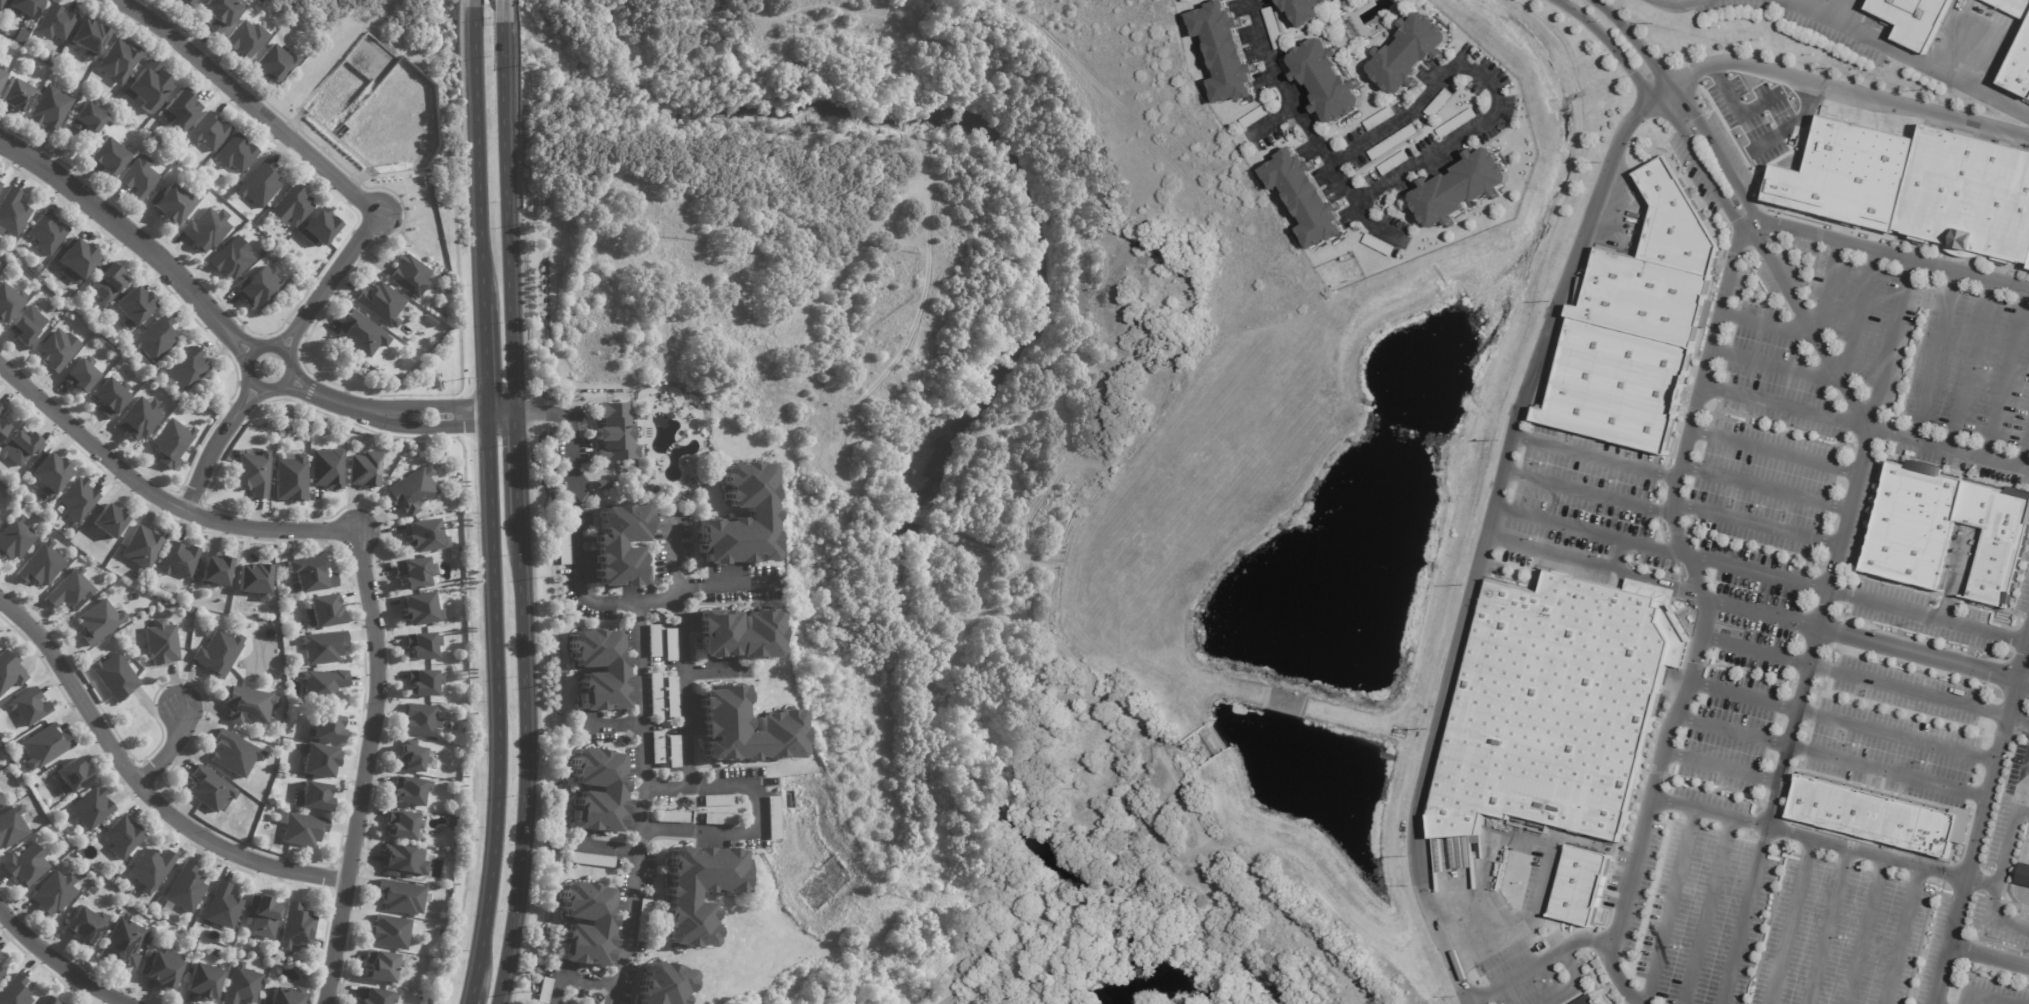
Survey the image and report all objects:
building: (185, 2)
building: (1, 3)
road: (464, 3)
road: (1681, 6)
building: (25, 7)
building: (2013, 7)
road: (496, 11)
building: (1308, 11)
building: (220, 13)
building: (52, 20)
building: (1917, 20)
park: (391, 24)
building: (1275, 29)
building: (84, 36)
building: (245, 39)
building: (1229, 54)
building: (1413, 55)
road: (1908, 57)
building: (115, 60)
building: (274, 64)
building: (2, 72)
building: (2020, 73)
building: (1329, 81)
road: (1483, 83)
building: (147, 87)
building: (16, 96)
road: (247, 104)
building: (1440, 104)
building: (49, 108)
road: (1692, 110)
building: (180, 112)
road: (1671, 114)
building: (1258, 116)
building: (88, 118)
building: (1381, 120)
road: (1270, 124)
building: (1459, 124)
road: (1308, 130)
building: (207, 133)
building: (1395, 143)
building: (235, 154)
road: (472, 156)
building: (109, 157)
building: (1396, 164)
building: (138, 178)
building: (0, 182)
building: (0, 184)
building: (258, 185)
building: (1463, 189)
building: (1966, 197)
building: (1309, 199)
building: (171, 203)
building: (291, 207)
building: (12, 211)
building: (319, 227)
building: (205, 230)
building: (47, 232)
road: (132, 241)
building: (1380, 245)
road: (1894, 255)
building: (231, 259)
building: (77, 260)
building: (1653, 269)
building: (408, 276)
road: (331, 281)
building: (102, 282)
building: (257, 287)
road: (1826, 289)
building: (7, 301)
building: (128, 304)
building: (380, 304)
road: (1859, 315)
building: (429, 321)
road: (1768, 325)
building: (22, 326)
building: (360, 334)
building: (151, 337)
road: (1890, 344)
building: (58, 349)
road: (283, 351)
road: (1935, 356)
road: (481, 362)
road: (1777, 364)
road: (1971, 366)
building: (183, 368)
building: (74, 374)
road: (2008, 375)
building: (1616, 387)
building: (104, 396)
road: (1786, 406)
road: (1858, 407)
building: (1, 409)
road: (382, 415)
building: (134, 417)
road: (565, 422)
building: (2, 428)
building: (614, 433)
road: (1515, 433)
building: (167, 441)
building: (20, 446)
road: (213, 447)
road: (1774, 452)
road: (2025, 454)
road: (1597, 458)
park: (948, 460)
building: (327, 468)
building: (360, 468)
building: (253, 473)
building: (50, 474)
building: (291, 478)
building: (605, 483)
road: (1766, 488)
building: (409, 489)
road: (1589, 493)
building: (669, 497)
building: (77, 499)
road: (156, 499)
building: (0, 514)
road: (516, 514)
building: (738, 517)
building: (109, 521)
road: (1758, 523)
road: (1844, 527)
building: (1941, 529)
road: (1591, 532)
building: (421, 536)
building: (15, 538)
building: (563, 542)
building: (620, 544)
building: (142, 546)
building: (179, 560)
building: (41, 565)
building: (215, 570)
building: (413, 572)
road: (1758, 573)
building: (310, 575)
road: (1694, 576)
building: (254, 579)
road: (724, 587)
building: (70, 591)
road: (621, 605)
building: (420, 609)
building: (323, 610)
building: (190, 611)
road: (1760, 615)
road: (1927, 616)
building: (98, 621)
building: (294, 631)
building: (205, 632)
building: (740, 633)
building: (653, 640)
building: (160, 642)
building: (670, 644)
building: (421, 645)
building: (322, 647)
road: (1759, 650)
building: (218, 653)
road: (1916, 654)
building: (599, 668)
building: (10, 671)
road: (2024, 671)
road: (715, 672)
building: (114, 676)
building: (423, 682)
building: (322, 685)
road: (1907, 689)
road: (2021, 690)
building: (655, 694)
road: (683, 694)
road: (1744, 697)
building: (672, 698)
building: (244, 704)
building: (28, 706)
building: (1562, 708)
road: (494, 711)
building: (420, 721)
road: (2017, 722)
building: (725, 723)
building: (326, 728)
road: (1733, 733)
road: (1896, 734)
road: (1790, 735)
building: (44, 746)
building: (657, 747)
road: (169, 750)
building: (674, 751)
building: (234, 753)
building: (412, 758)
building: (317, 759)
road: (366, 766)
road: (1723, 768)
road: (1886, 772)
building: (71, 776)
road: (139, 788)
building: (208, 789)
building: (411, 790)
building: (597, 790)
building: (312, 796)
building: (270, 800)
building: (719, 800)
building: (1, 804)
road: (642, 806)
building: (90, 809)
road: (1713, 809)
road: (2021, 812)
road: (756, 814)
building: (672, 817)
building: (1873, 817)
road: (1979, 817)
building: (772, 818)
building: (720, 819)
road: (2011, 822)
building: (398, 823)
building: (11, 826)
building: (302, 829)
building: (122, 837)
road: (1863, 855)
building: (399, 859)
building: (592, 860)
building: (24, 865)
building: (150, 869)
building: (2023, 875)
building: (408, 876)
building: (1581, 885)
building: (184, 888)
building: (53, 893)
building: (396, 895)
building: (681, 897)
road: (1671, 905)
building: (222, 906)
road: (1991, 907)
road: (1708, 909)
building: (262, 916)
parking lot: (1770, 917)
building: (643, 921)
road: (1790, 922)
building: (585, 924)
road: (1740, 924)
building: (84, 926)
building: (297, 927)
road: (1827, 927)
building: (389, 932)
road: (1864, 932)
road: (1903, 937)
building: (122, 942)
building: (215, 953)
road: (1987, 956)
building: (1, 966)
building: (380, 966)
road: (57, 968)
building: (161, 971)
road: (1613, 971)
building: (1, 973)
road: (573, 980)
road: (1577, 981)
building: (202, 982)
building: (664, 984)
building: (241, 985)
building: (544, 991)
building: (15, 992)
building: (284, 996)
road: (1989, 996)
building: (375, 997)
building: (1583, 1000)
building: (49, 1001)
road: (1469, 1002)
road: (465, 1003)

